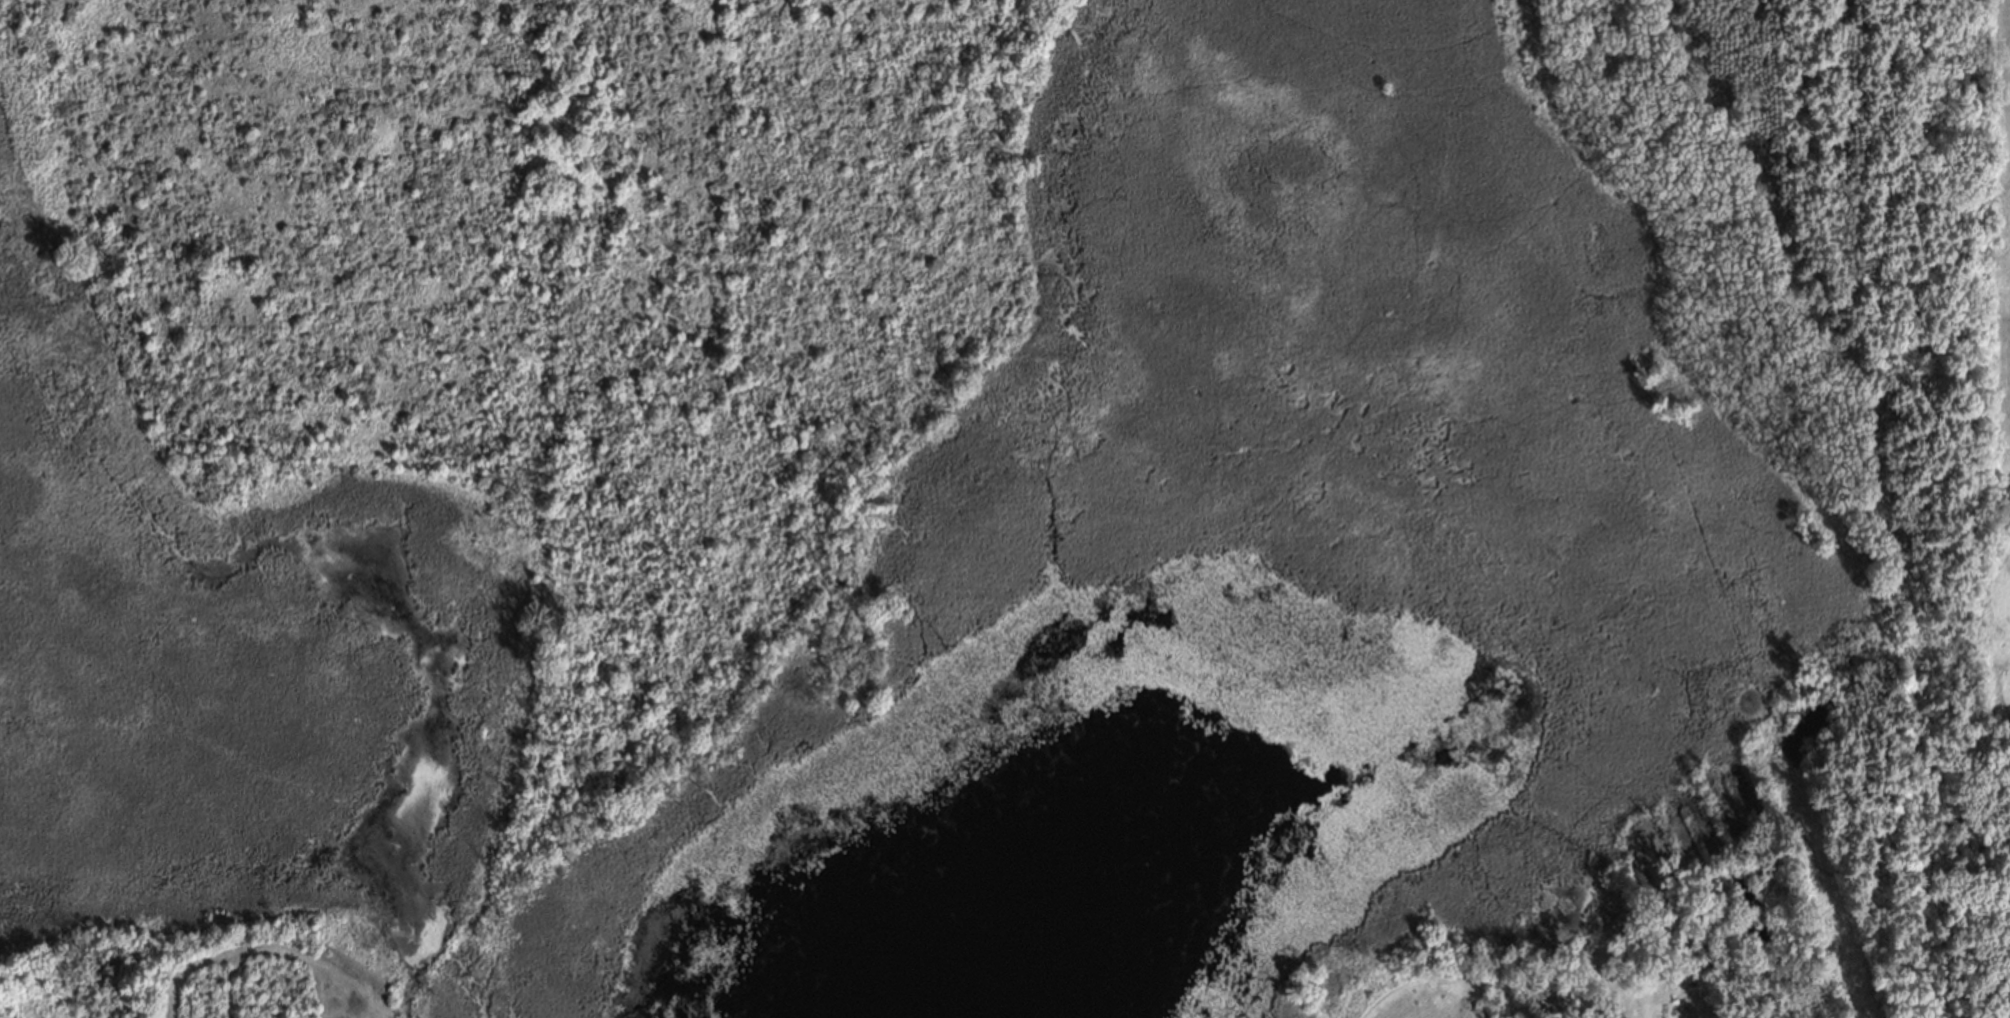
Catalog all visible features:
building: (1550, 998)

